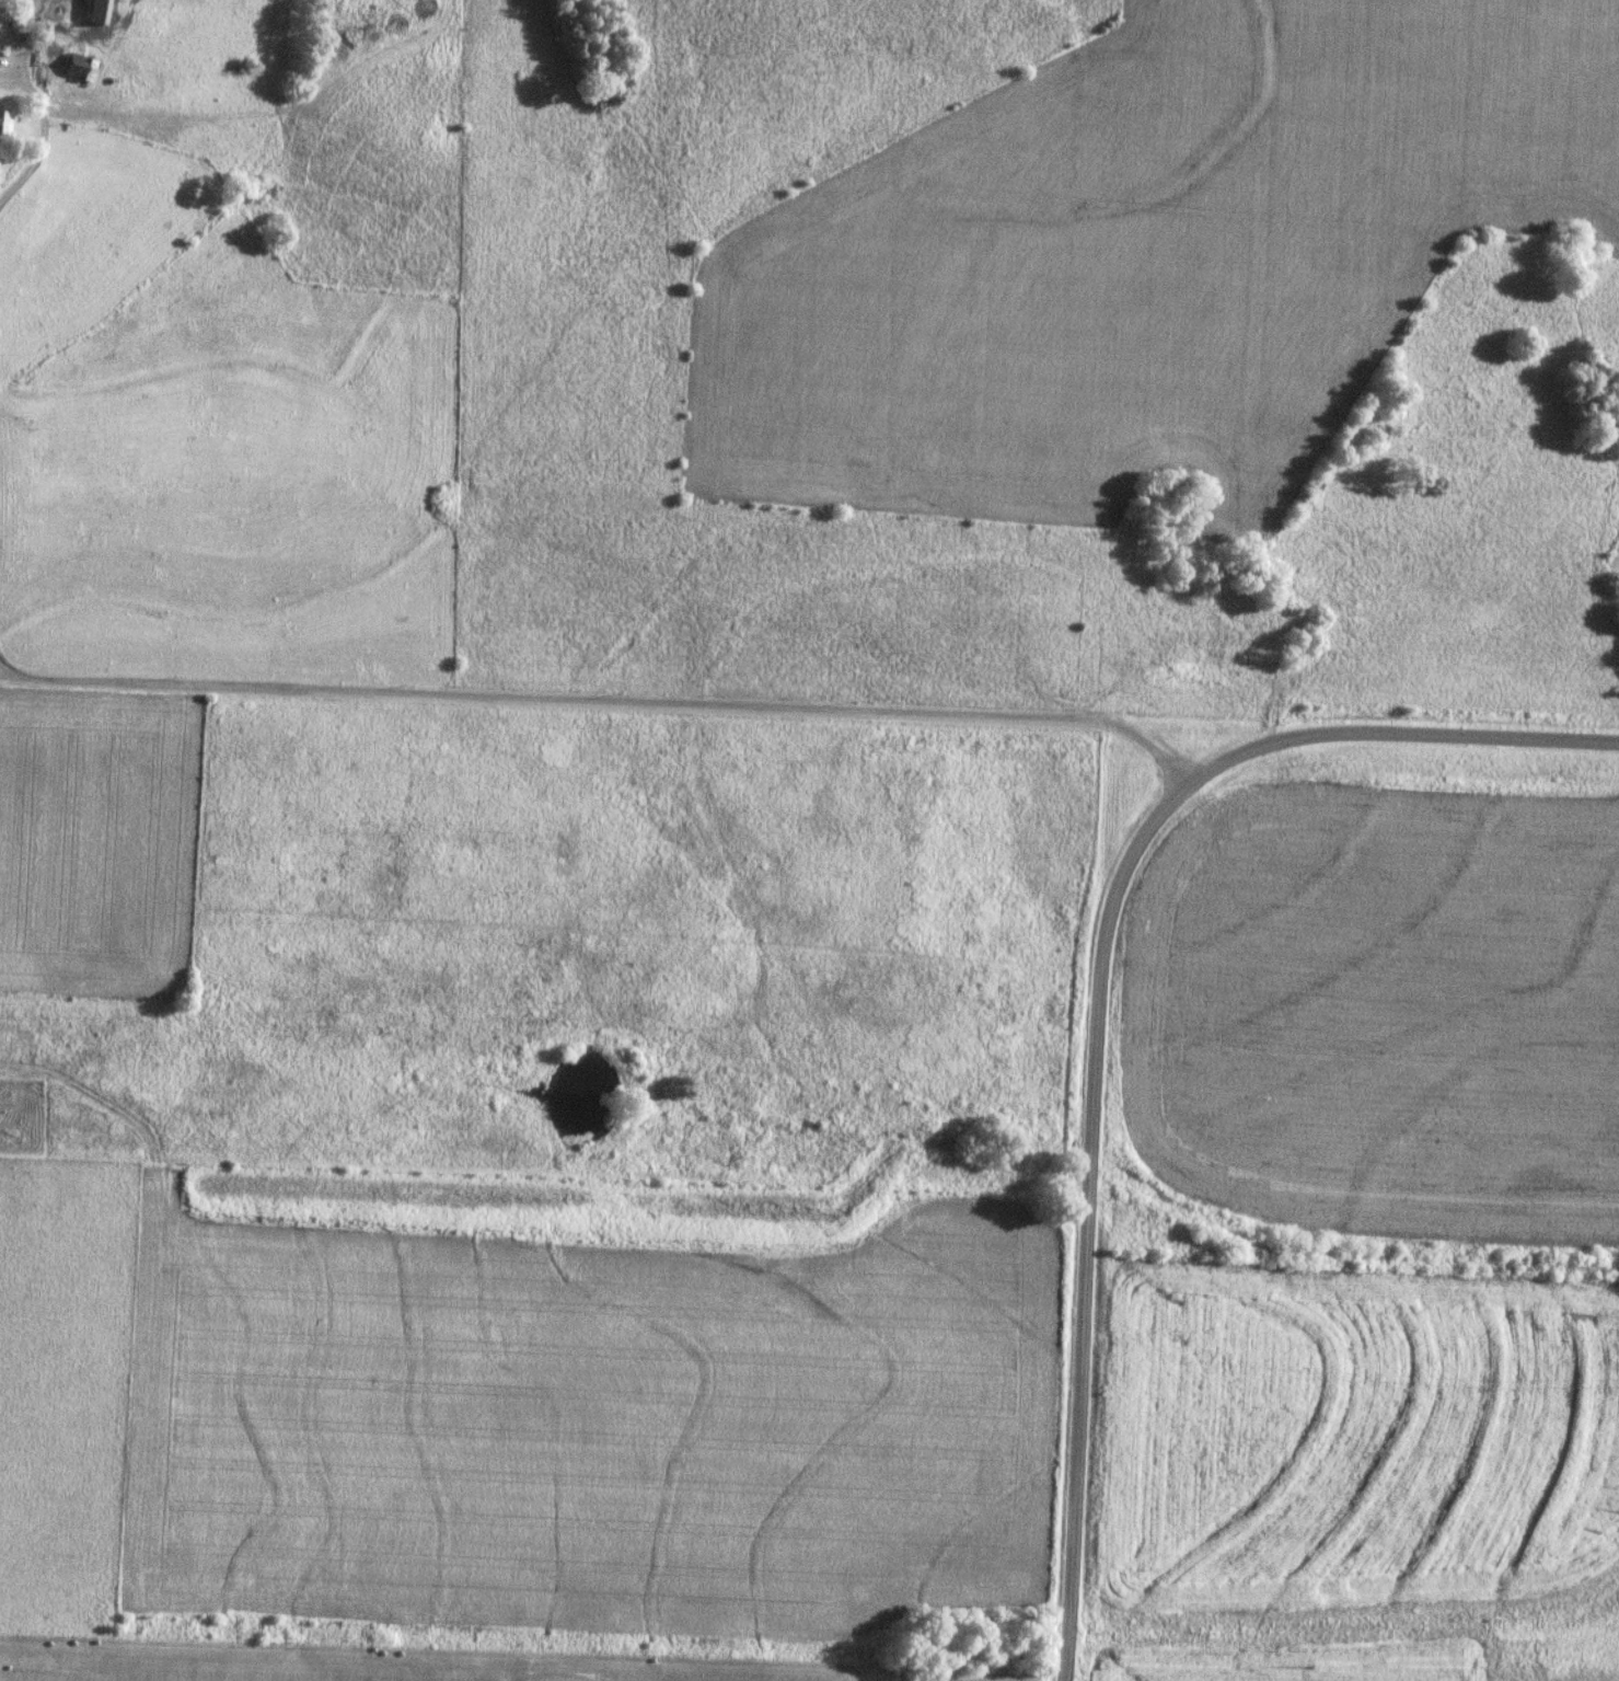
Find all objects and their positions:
building: (94, 13)
building: (76, 68)
building: (2, 124)
road: (38, 130)
road: (7, 673)
road: (600, 700)
road: (1098, 995)

